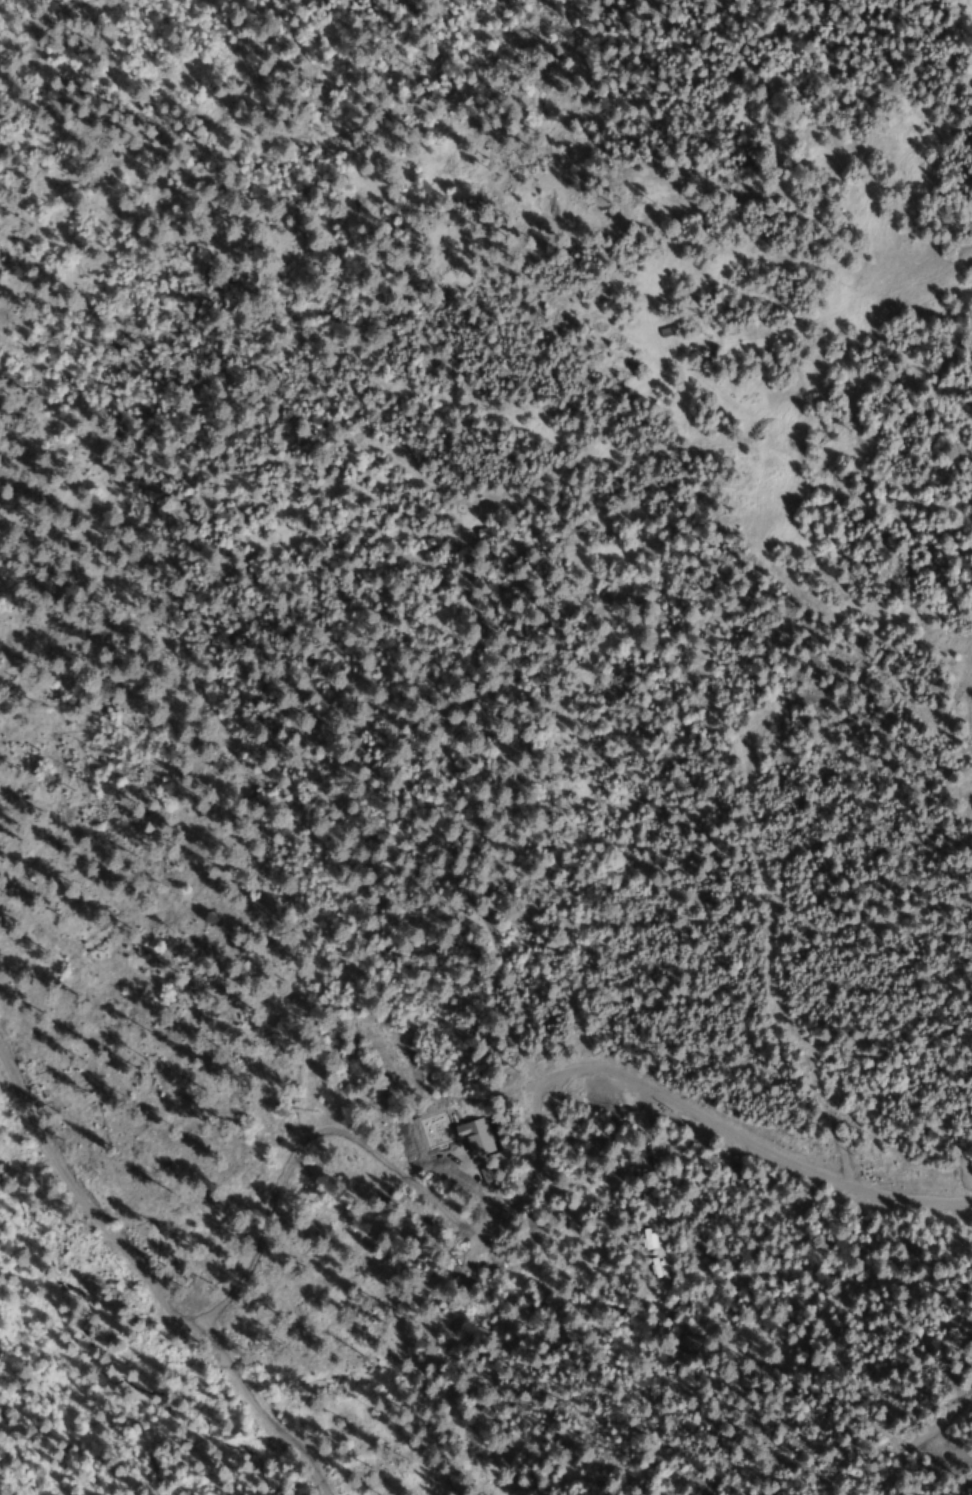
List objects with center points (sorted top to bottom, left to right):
building: (665, 331)
road: (155, 1271)

